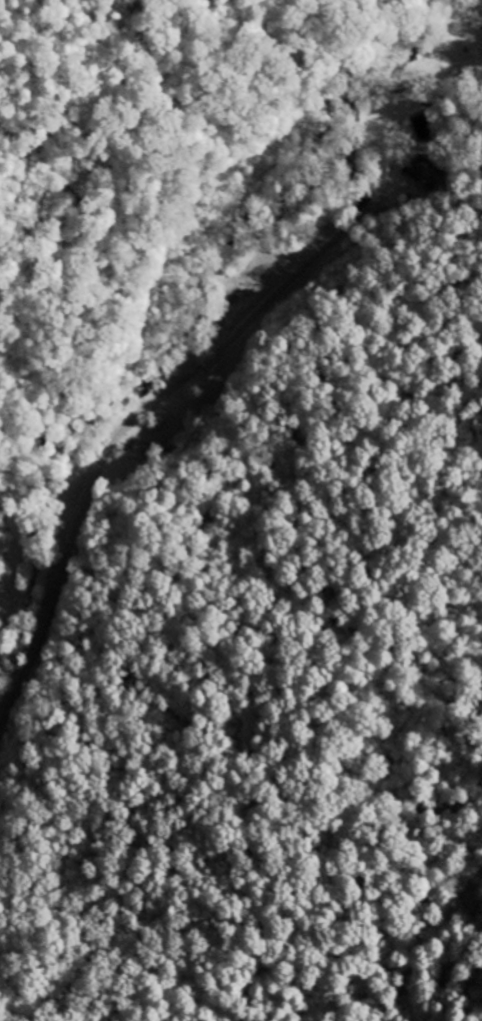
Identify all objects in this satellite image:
building: (425, 172)
road: (125, 428)

